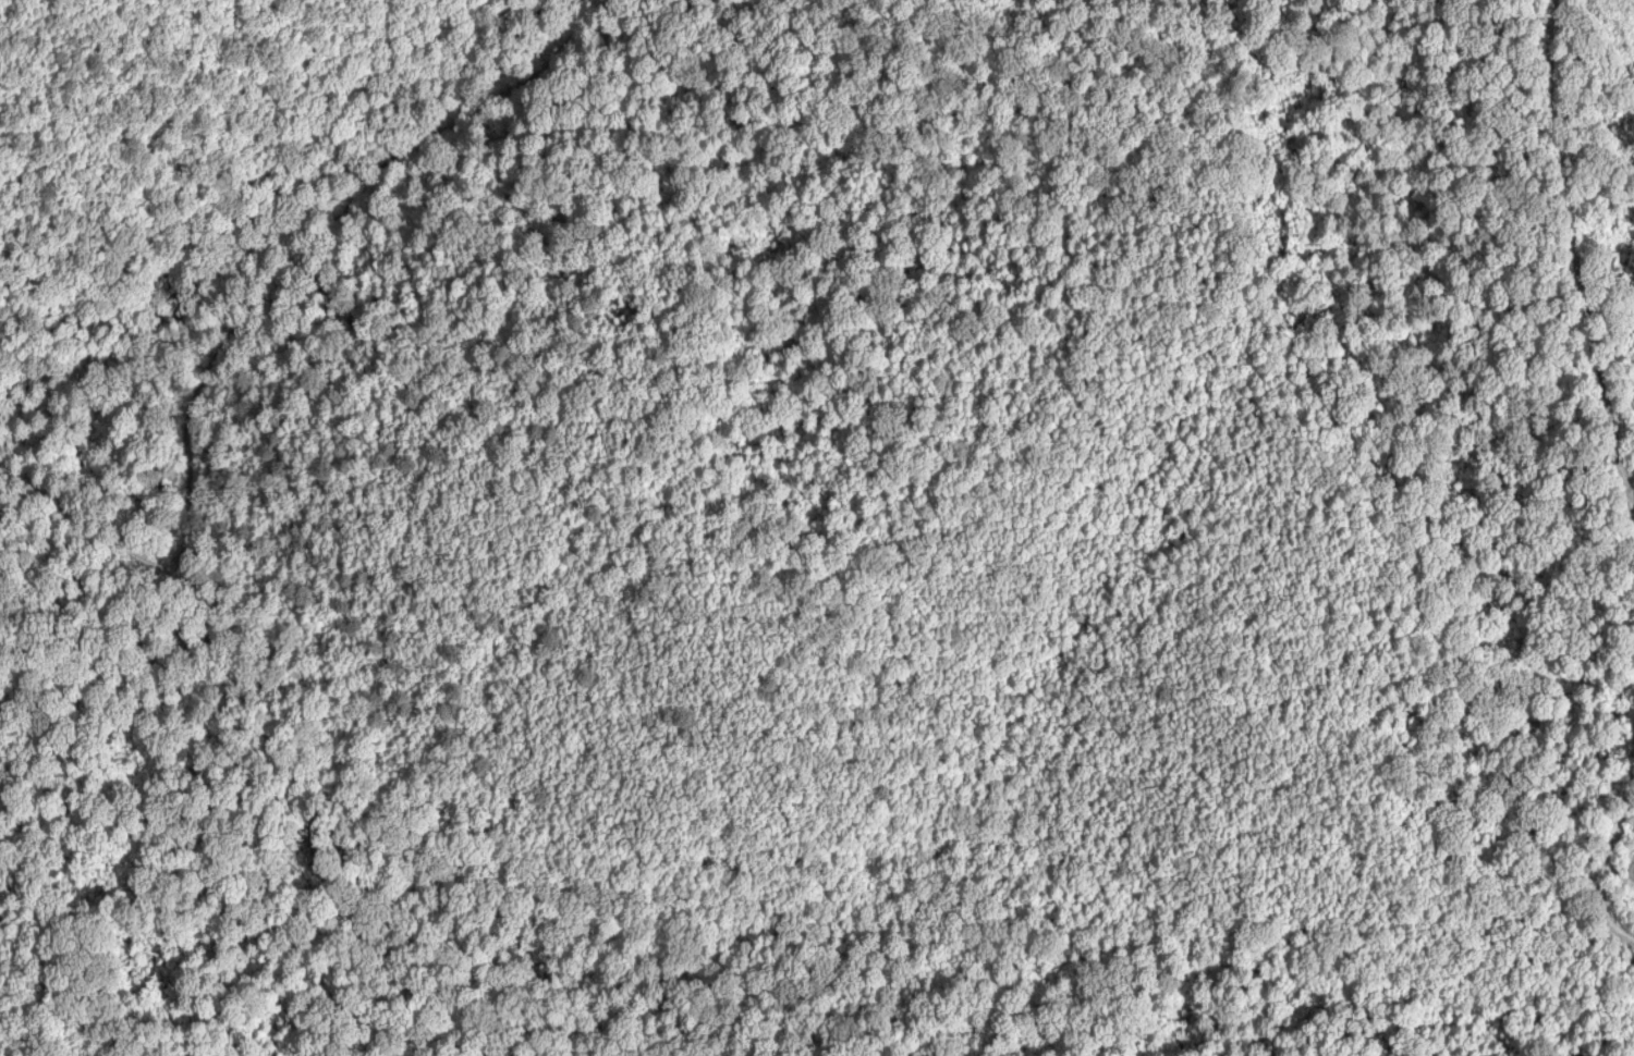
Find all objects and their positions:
road: (1587, 286)
road: (1608, 846)

